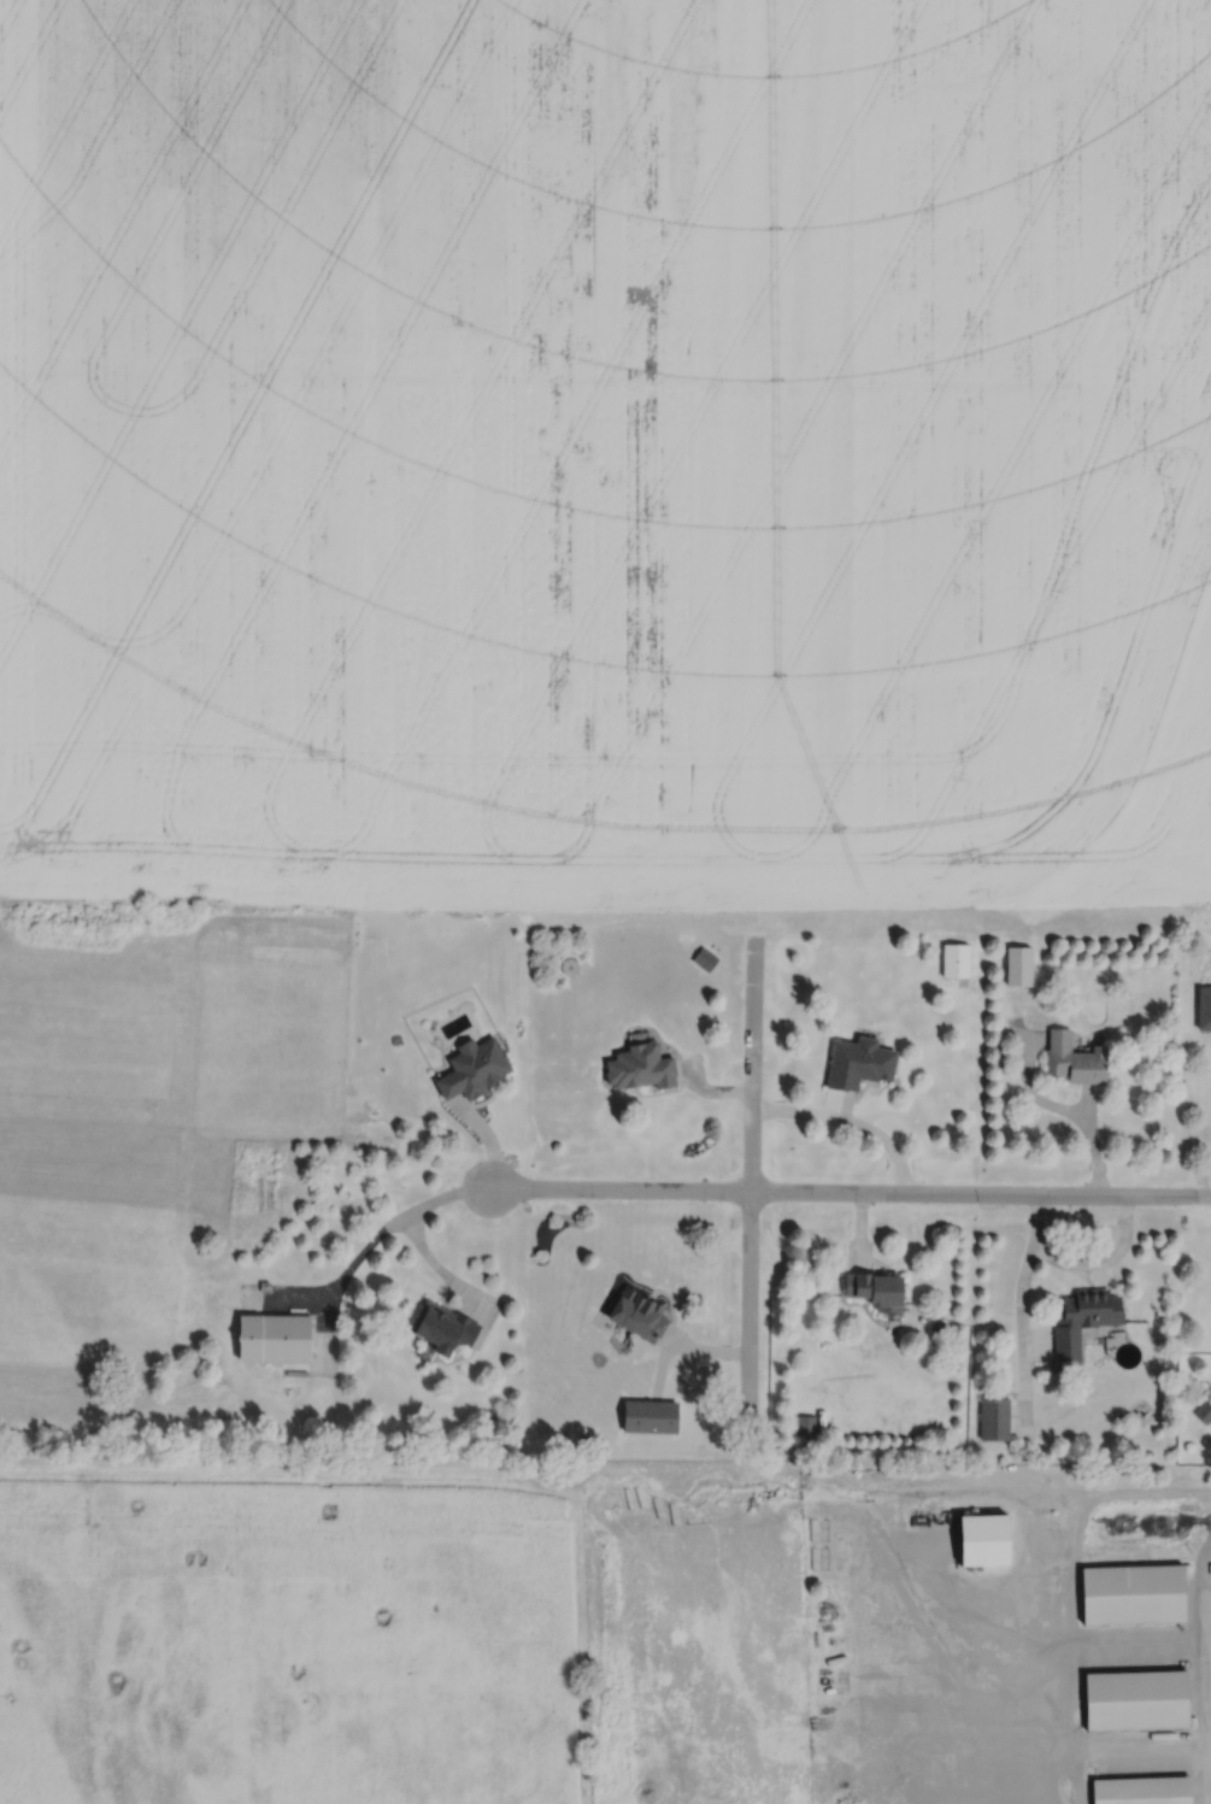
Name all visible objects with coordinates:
building: (954, 959)
building: (1017, 964)
building: (1204, 1007)
building: (1074, 1058)
building: (858, 1062)
building: (639, 1065)
building: (474, 1068)
road: (850, 1123)
road: (754, 1185)
road: (622, 1191)
road: (982, 1193)
road: (376, 1235)
road: (1103, 1258)
building: (875, 1289)
road: (1019, 1309)
building: (636, 1314)
building: (1082, 1318)
building: (442, 1326)
building: (274, 1338)
building: (1203, 1411)
building: (648, 1416)
building: (993, 1418)
building: (982, 1539)
building: (1131, 1593)
building: (1135, 1699)
building: (1141, 1790)

